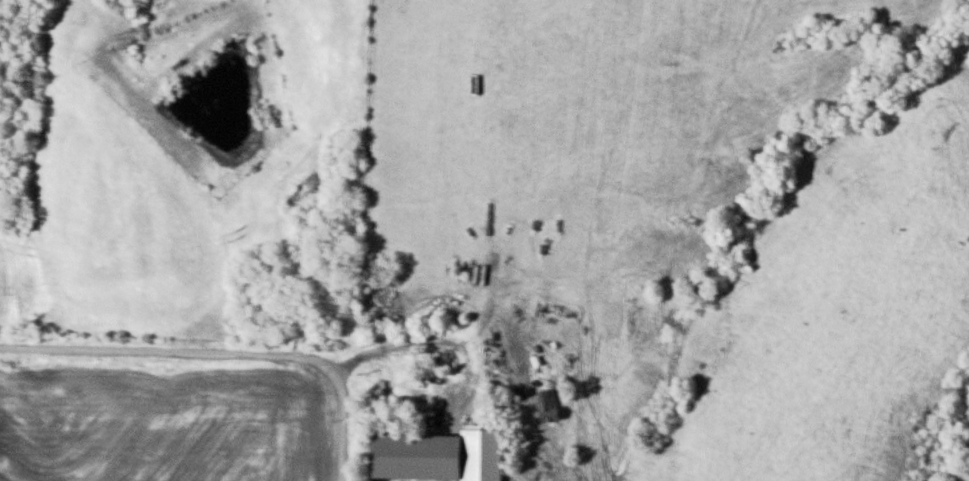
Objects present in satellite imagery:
road: (221, 354)
building: (485, 455)
building: (440, 456)
building: (394, 457)

